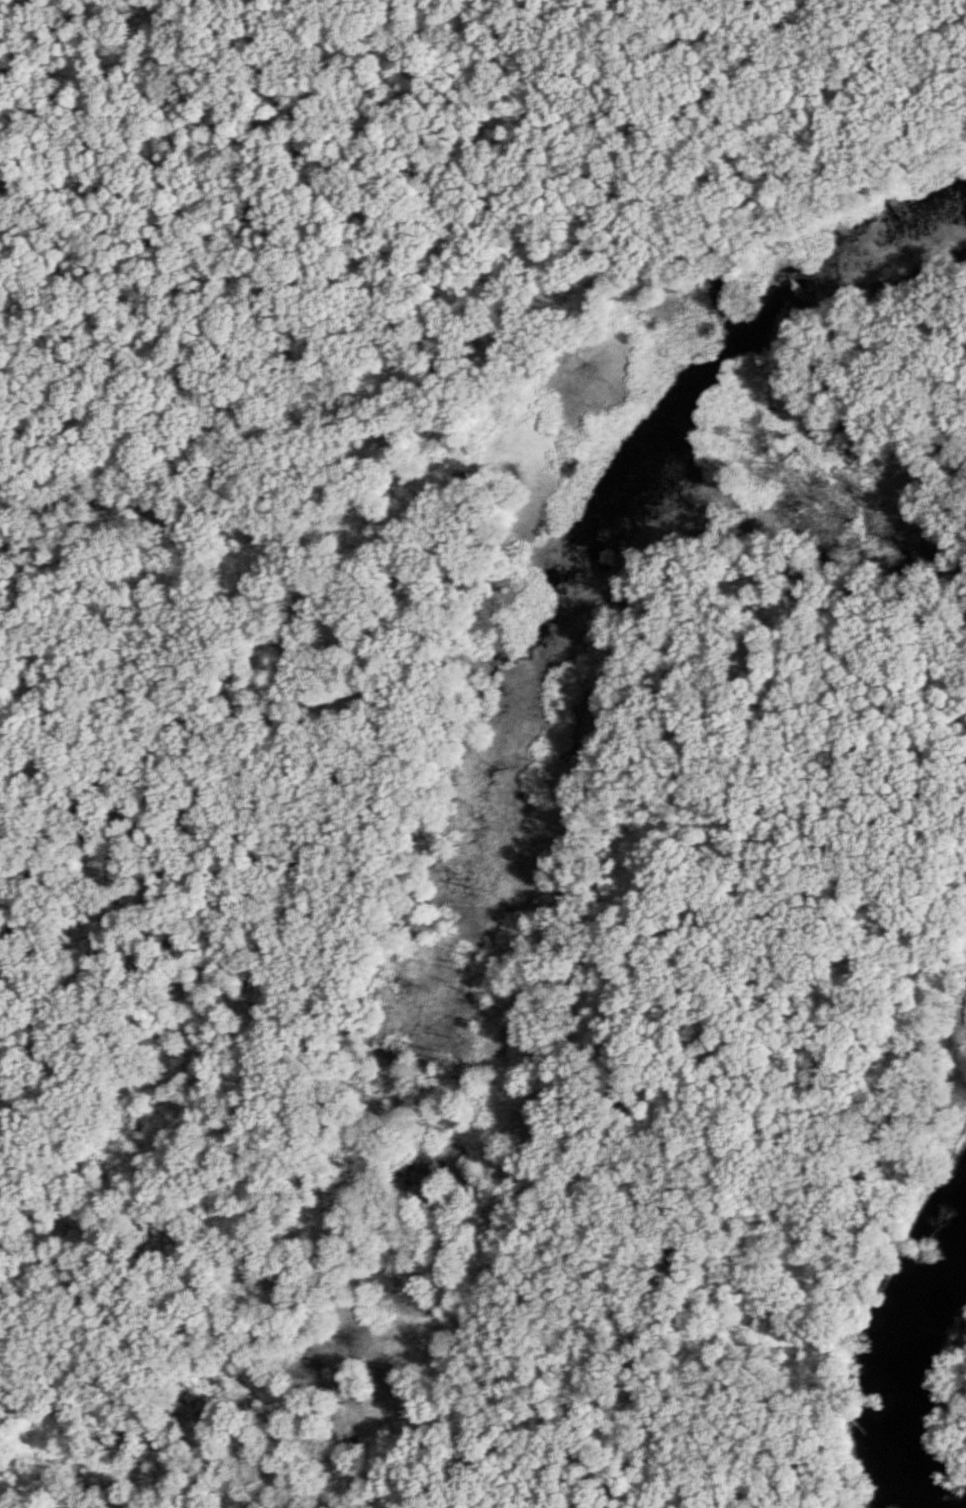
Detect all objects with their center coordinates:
river: (895, 1345)

